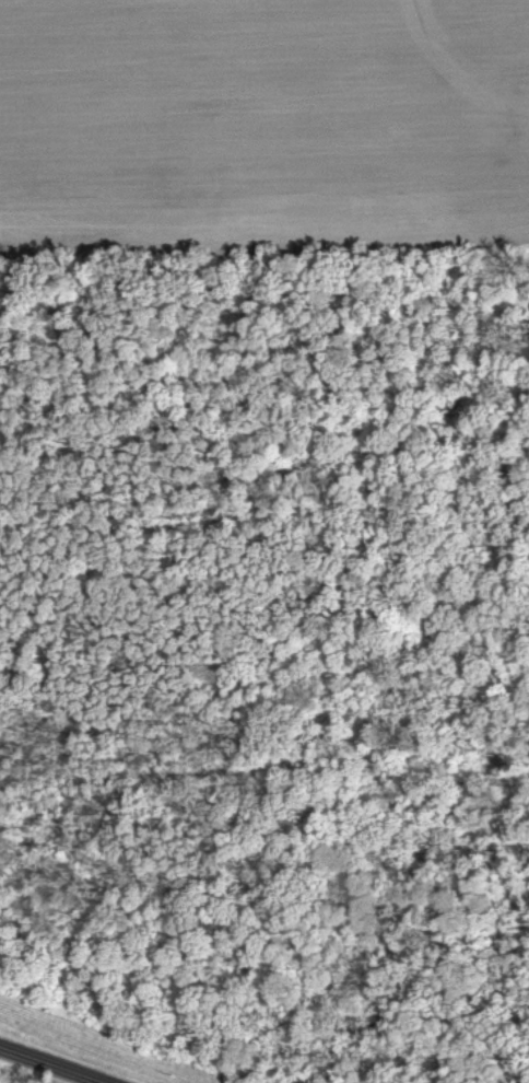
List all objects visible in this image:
road: (48, 1067)

